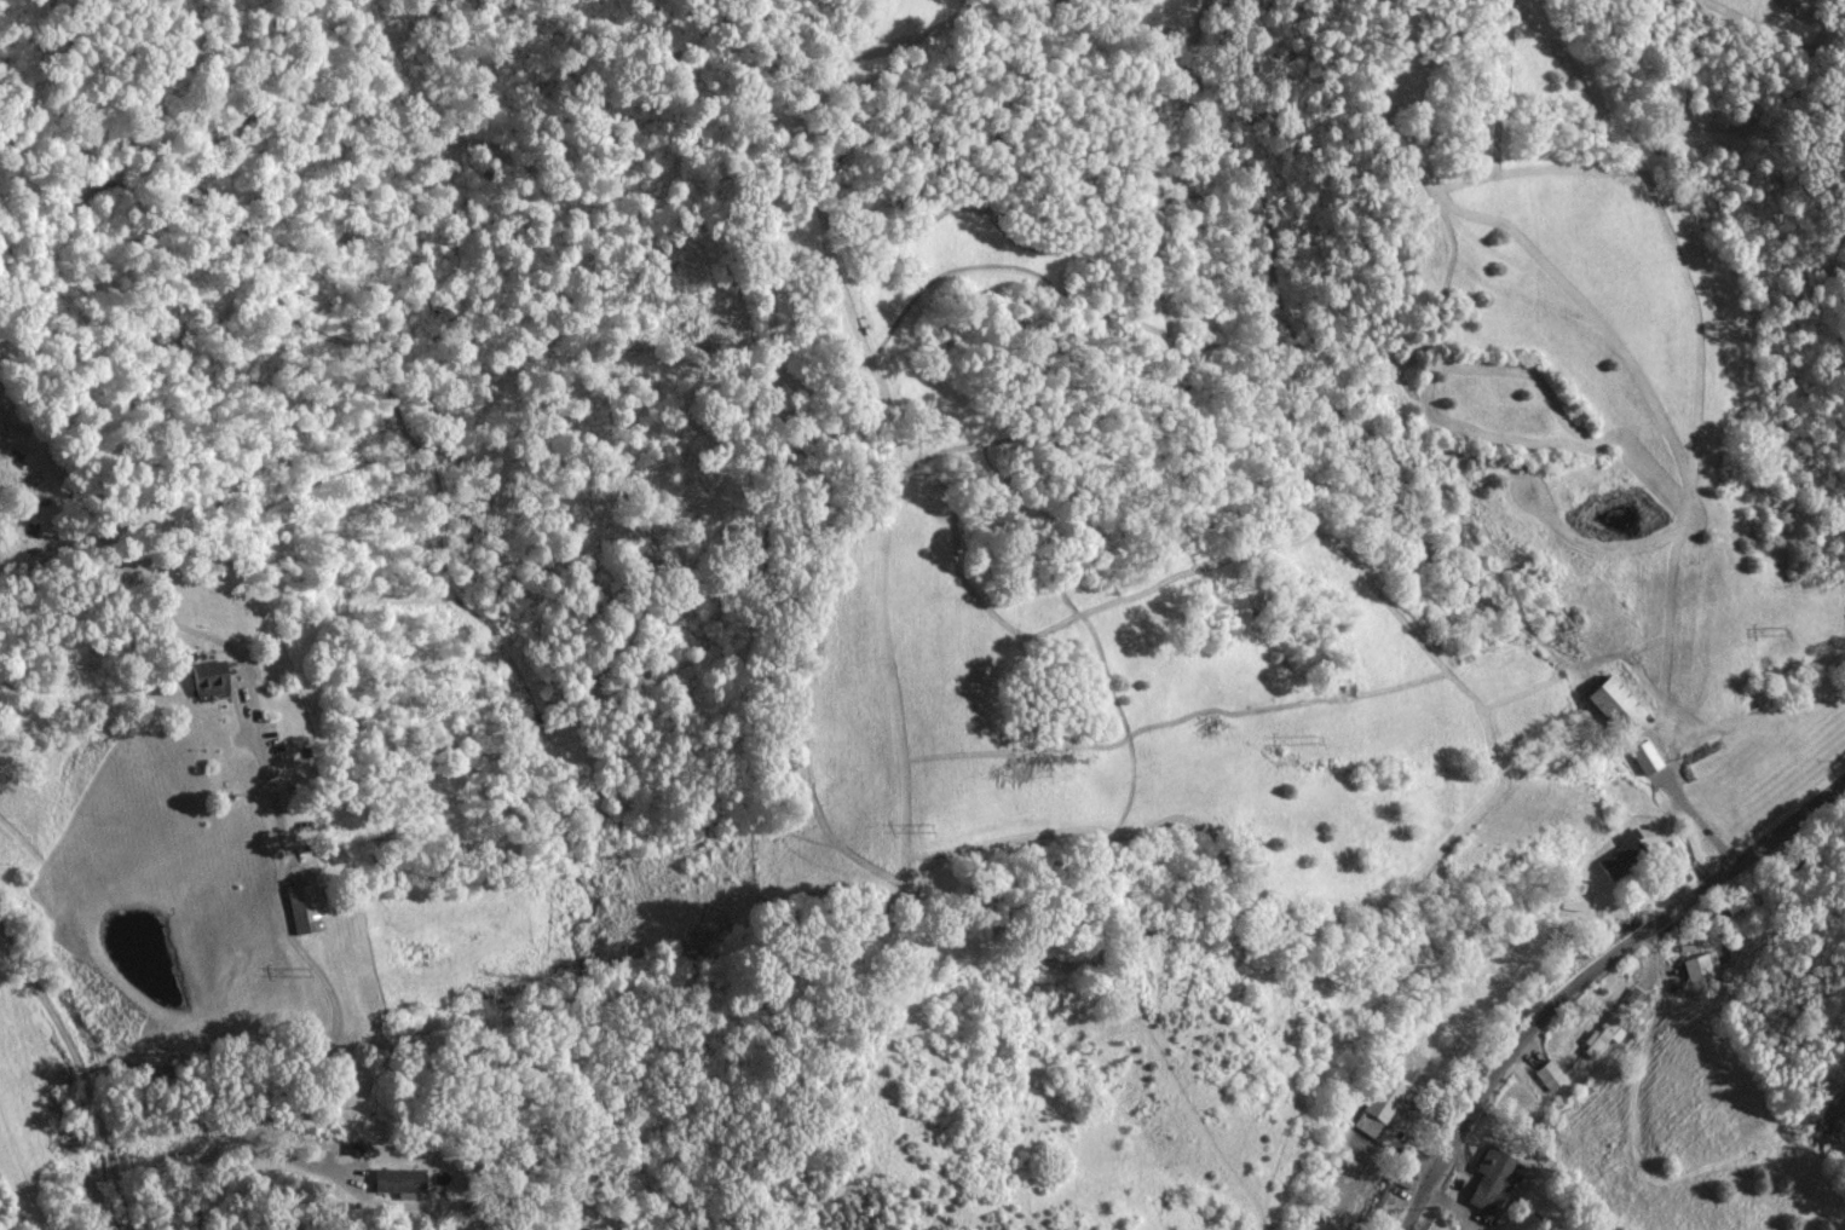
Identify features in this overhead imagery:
building: (209, 682)
building: (1615, 703)
building: (1645, 757)
building: (1626, 853)
building: (300, 908)
building: (1701, 966)
road: (1585, 969)
road: (331, 1006)
building: (1604, 1036)
road: (81, 1069)
building: (1550, 1075)
building: (1492, 1179)
building: (397, 1182)

